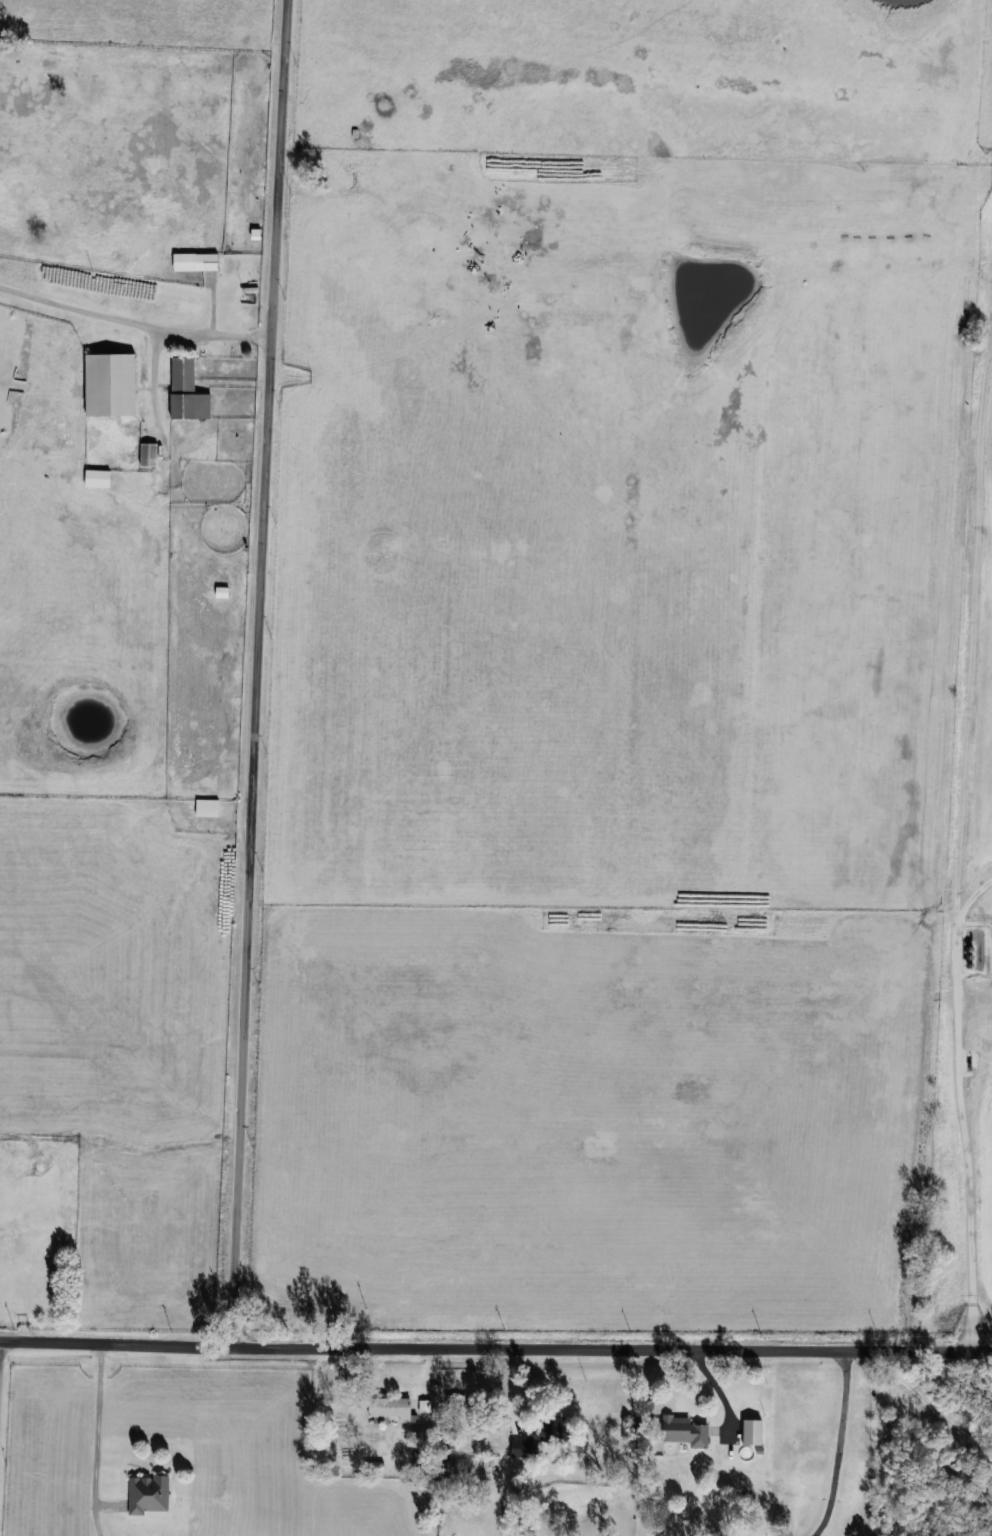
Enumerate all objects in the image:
building: (197, 261)
road: (134, 321)
building: (112, 384)
building: (188, 391)
building: (150, 454)
building: (98, 478)
road: (258, 674)
building: (209, 807)
road: (966, 1109)
road: (495, 1350)
road: (935, 1404)
building: (391, 1406)
building: (425, 1406)
building: (335, 1419)
building: (550, 1429)
building: (689, 1431)
building: (752, 1431)
road: (99, 1439)
building: (450, 1440)
road: (841, 1445)
building: (151, 1491)

